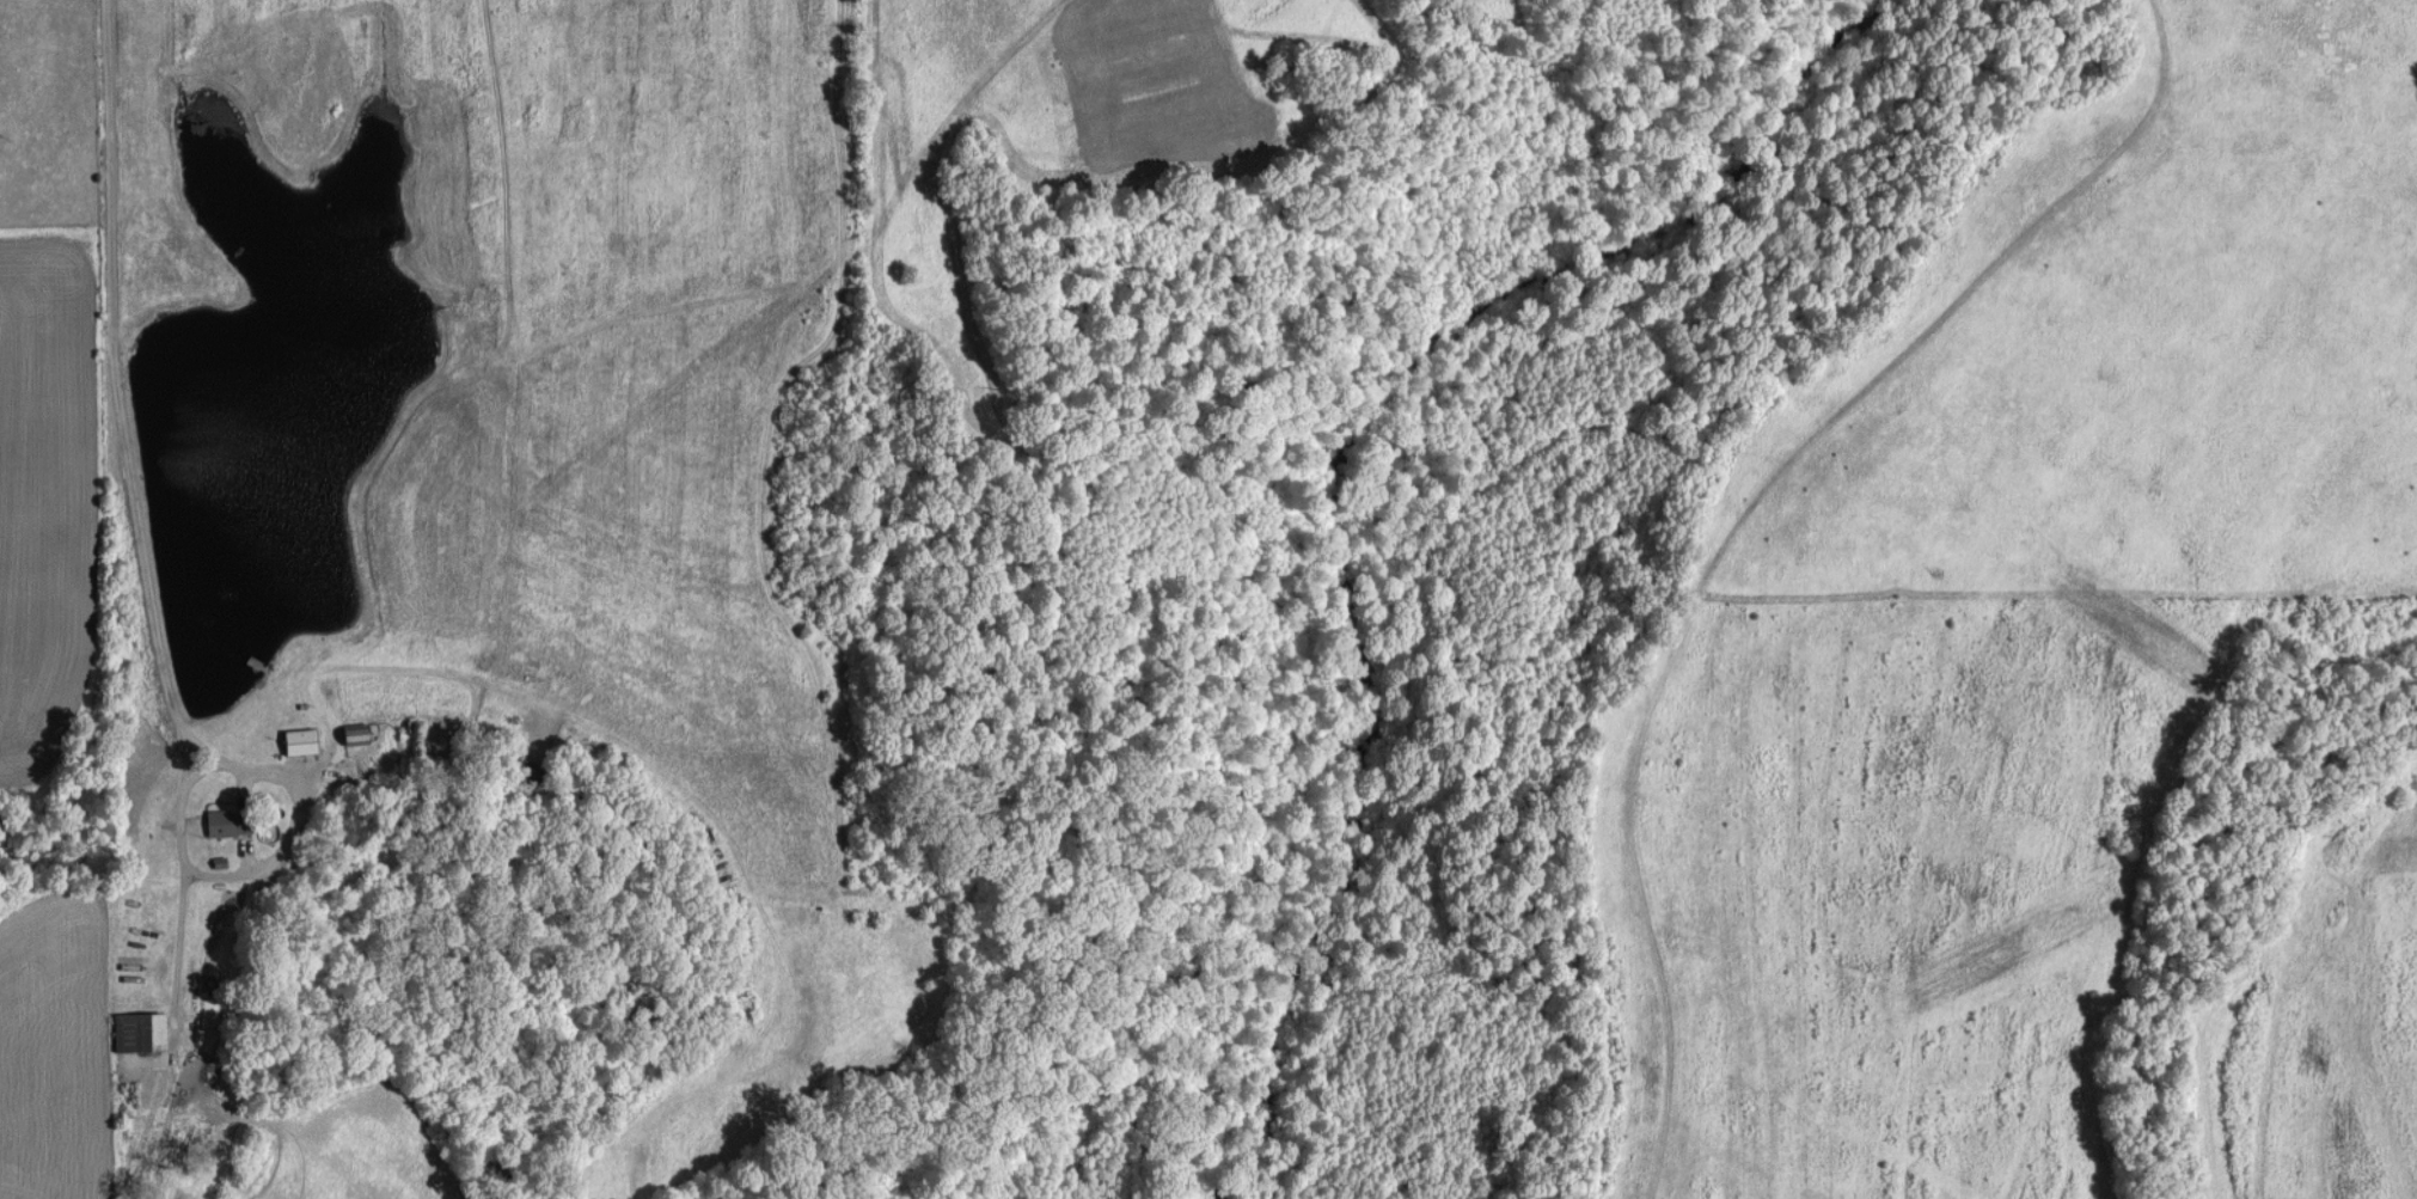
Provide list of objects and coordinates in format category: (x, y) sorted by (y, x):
road: (114, 385)
building: (353, 733)
building: (296, 740)
building: (525, 773)
building: (225, 820)
road: (238, 881)
building: (136, 1030)

